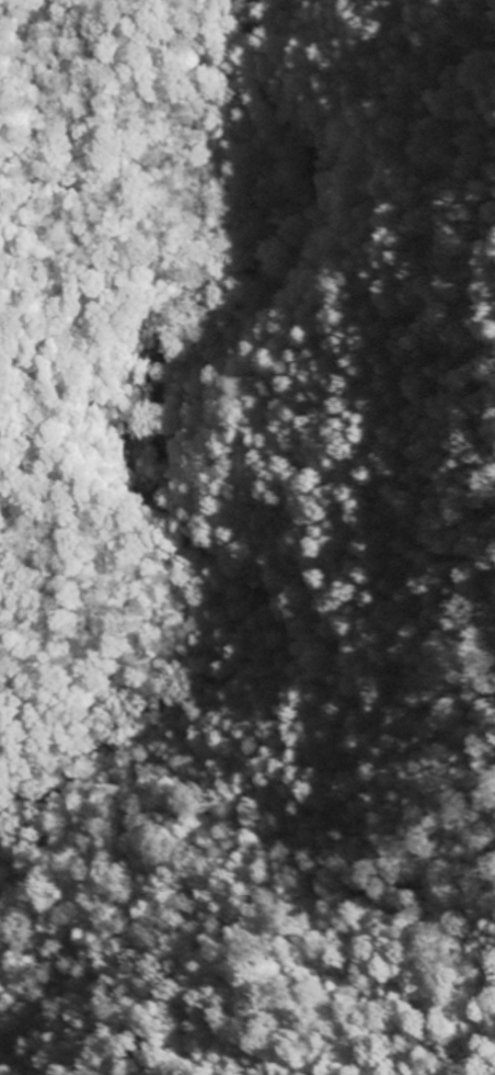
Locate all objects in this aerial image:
road: (57, 351)

